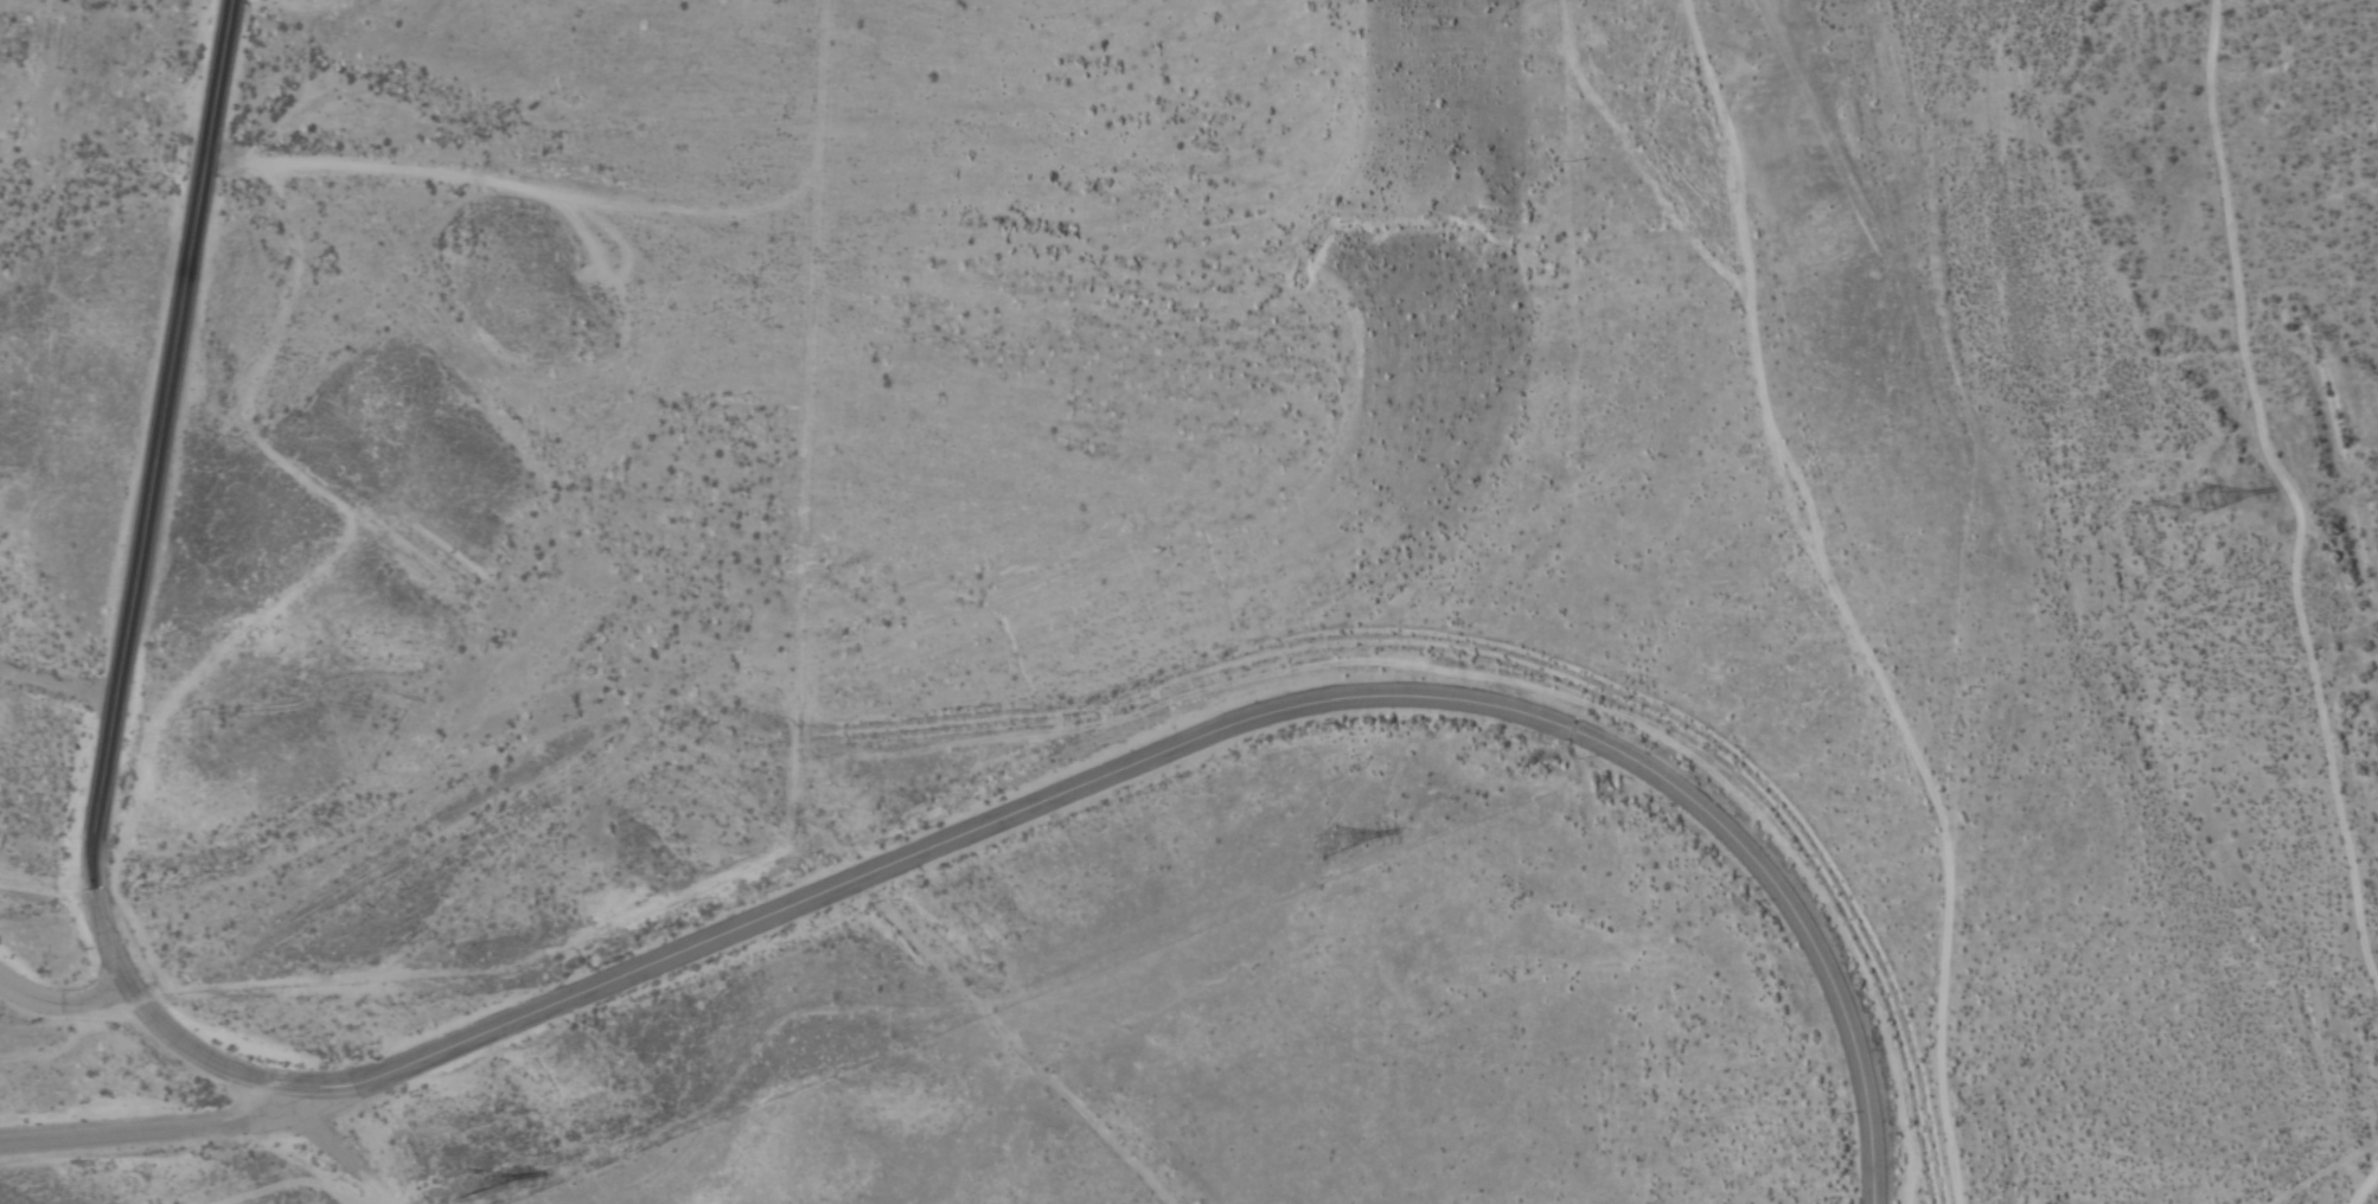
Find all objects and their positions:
power tower: (2192, 512)
road: (1906, 609)
power tower: (1329, 853)
road: (645, 965)
road: (60, 1003)
road: (1025, 1055)
road: (152, 1132)
road: (333, 1149)
power tower: (456, 1197)

